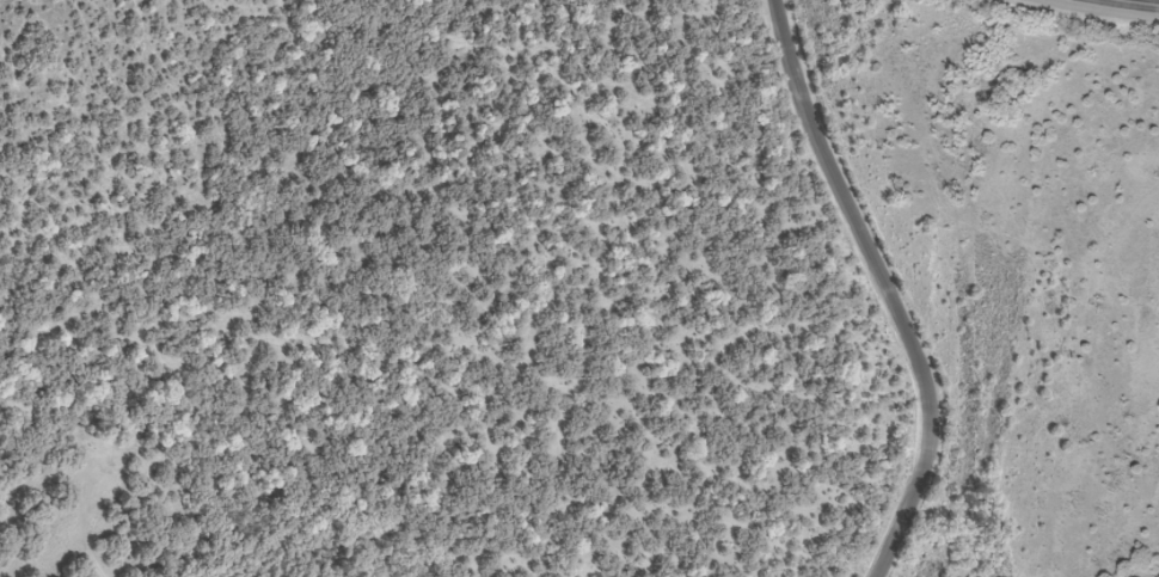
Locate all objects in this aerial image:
road: (1143, 1)
road: (884, 287)

